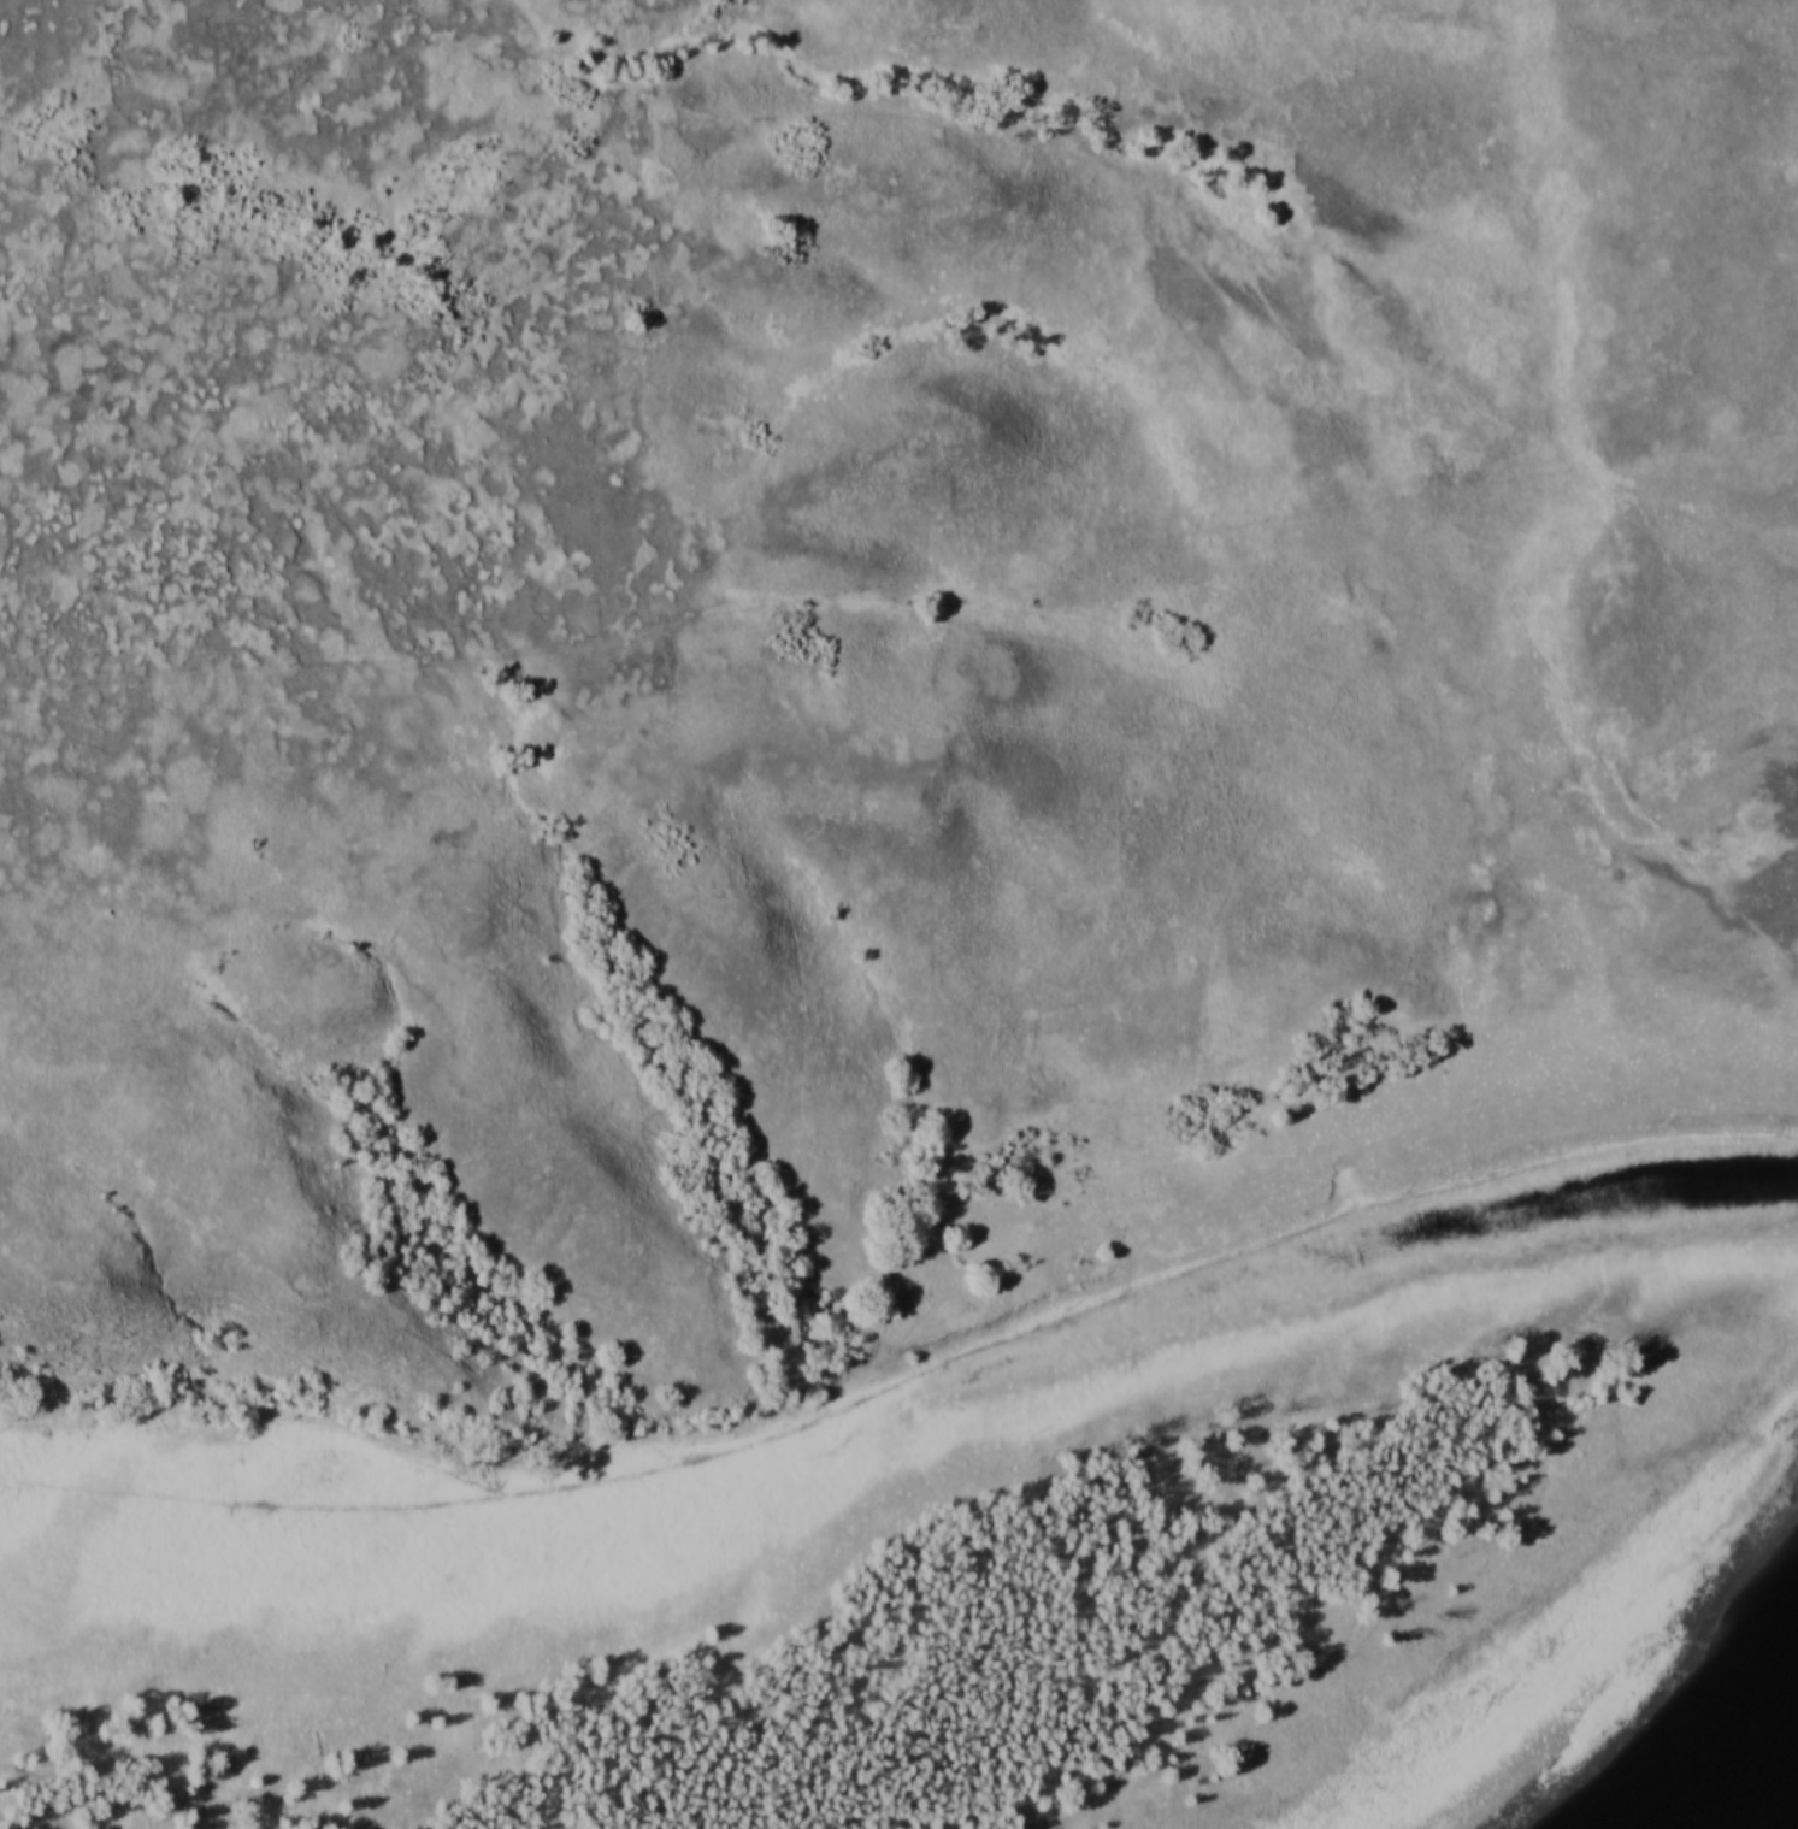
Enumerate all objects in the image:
river: (1728, 1754)

